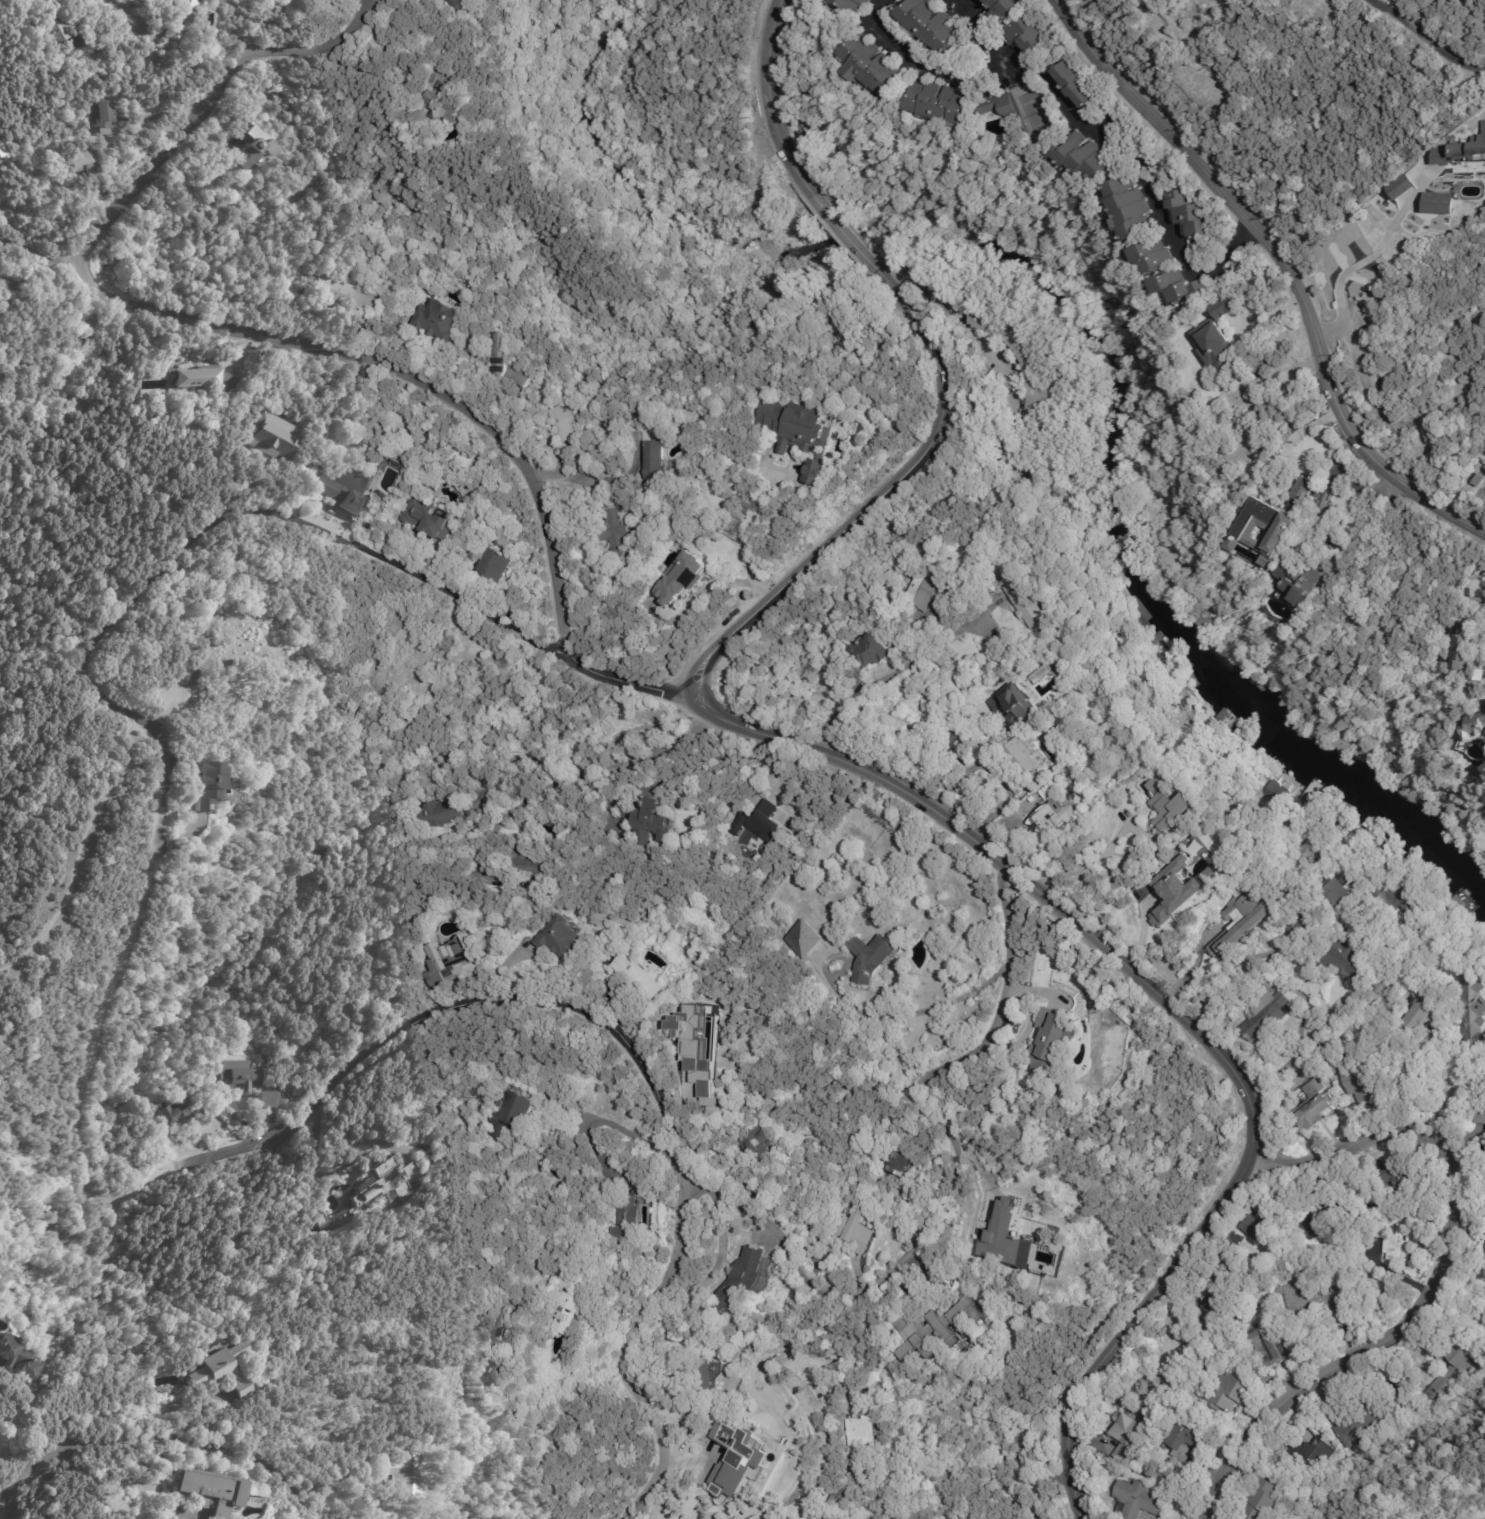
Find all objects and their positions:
building: (454, 5)
building: (852, 5)
building: (295, 8)
building: (1003, 10)
building: (176, 18)
building: (51, 23)
building: (931, 25)
road: (987, 29)
building: (1027, 36)
road: (1426, 40)
building: (871, 66)
building: (414, 72)
building: (1078, 86)
road: (208, 101)
road: (768, 102)
building: (940, 104)
building: (1000, 108)
building: (446, 109)
building: (101, 117)
road: (1076, 120)
building: (1470, 147)
building: (251, 151)
building: (2, 154)
building: (1086, 159)
building: (79, 163)
building: (1398, 186)
building: (1436, 203)
building: (1132, 212)
building: (1191, 217)
road: (844, 234)
road: (40, 251)
road: (1367, 258)
building: (1159, 263)
road: (1283, 265)
building: (1182, 291)
building: (305, 294)
building: (348, 298)
road: (957, 314)
building: (435, 323)
building: (1217, 335)
building: (503, 364)
building: (203, 377)
building: (1042, 389)
road: (462, 403)
building: (563, 426)
building: (800, 436)
road: (1291, 436)
building: (274, 438)
building: (655, 467)
building: (1477, 479)
road: (574, 482)
building: (346, 493)
road: (880, 499)
building: (425, 522)
building: (1271, 522)
building: (615, 536)
road: (209, 539)
road: (750, 539)
building: (1270, 560)
building: (494, 567)
building: (1301, 580)
building: (682, 581)
building: (923, 591)
road: (699, 599)
building: (1028, 601)
building: (237, 635)
building: (1464, 647)
building: (871, 652)
building: (406, 659)
road: (894, 673)
road: (1480, 684)
building: (1484, 700)
building: (1015, 704)
building: (1476, 725)
building: (1079, 747)
building: (1364, 748)
building: (1022, 757)
building: (1388, 759)
road: (600, 770)
building: (206, 785)
road: (982, 785)
building: (1019, 787)
building: (1270, 793)
building: (1170, 802)
building: (436, 815)
building: (648, 820)
building: (1053, 821)
building: (763, 823)
road: (76, 851)
building: (1307, 857)
road: (1086, 862)
building: (1206, 863)
building: (522, 864)
building: (525, 887)
building: (1173, 891)
building: (1343, 892)
building: (1395, 896)
building: (1308, 915)
building: (1244, 923)
building: (559, 939)
building: (803, 940)
building: (871, 958)
building: (1344, 958)
building: (446, 959)
road: (1195, 965)
road: (1225, 970)
building: (636, 979)
road: (1389, 990)
building: (1472, 1011)
road: (911, 1012)
building: (1266, 1012)
road: (1178, 1015)
building: (1420, 1017)
building: (1052, 1041)
road: (632, 1054)
building: (701, 1072)
building: (240, 1077)
building: (1362, 1079)
road: (1442, 1094)
building: (266, 1101)
building: (1316, 1106)
building: (174, 1111)
building: (1479, 1113)
building: (507, 1119)
building: (754, 1147)
building: (726, 1158)
building: (899, 1167)
road: (333, 1168)
building: (1400, 1185)
building: (376, 1192)
building: (1254, 1206)
building: (1326, 1219)
building: (625, 1220)
building: (1262, 1228)
building: (857, 1231)
road: (923, 1238)
building: (1004, 1238)
building: (1400, 1241)
building: (742, 1278)
road: (1451, 1283)
building: (1219, 1291)
building: (1304, 1300)
building: (567, 1304)
building: (494, 1322)
building: (940, 1324)
building: (1266, 1349)
building: (17, 1360)
building: (414, 1360)
building: (495, 1362)
building: (222, 1370)
building: (1450, 1371)
building: (709, 1376)
building: (693, 1383)
building: (1231, 1395)
building: (1099, 1417)
building: (1356, 1426)
road: (160, 1430)
building: (863, 1431)
building: (1127, 1439)
building: (1187, 1441)
building: (451, 1445)
building: (741, 1456)
building: (1312, 1456)
building: (407, 1474)
building: (1098, 1480)
building: (840, 1487)
building: (212, 1490)
building: (1263, 1501)
building: (1139, 1502)
road: (2, 1516)
road: (1024, 1518)

